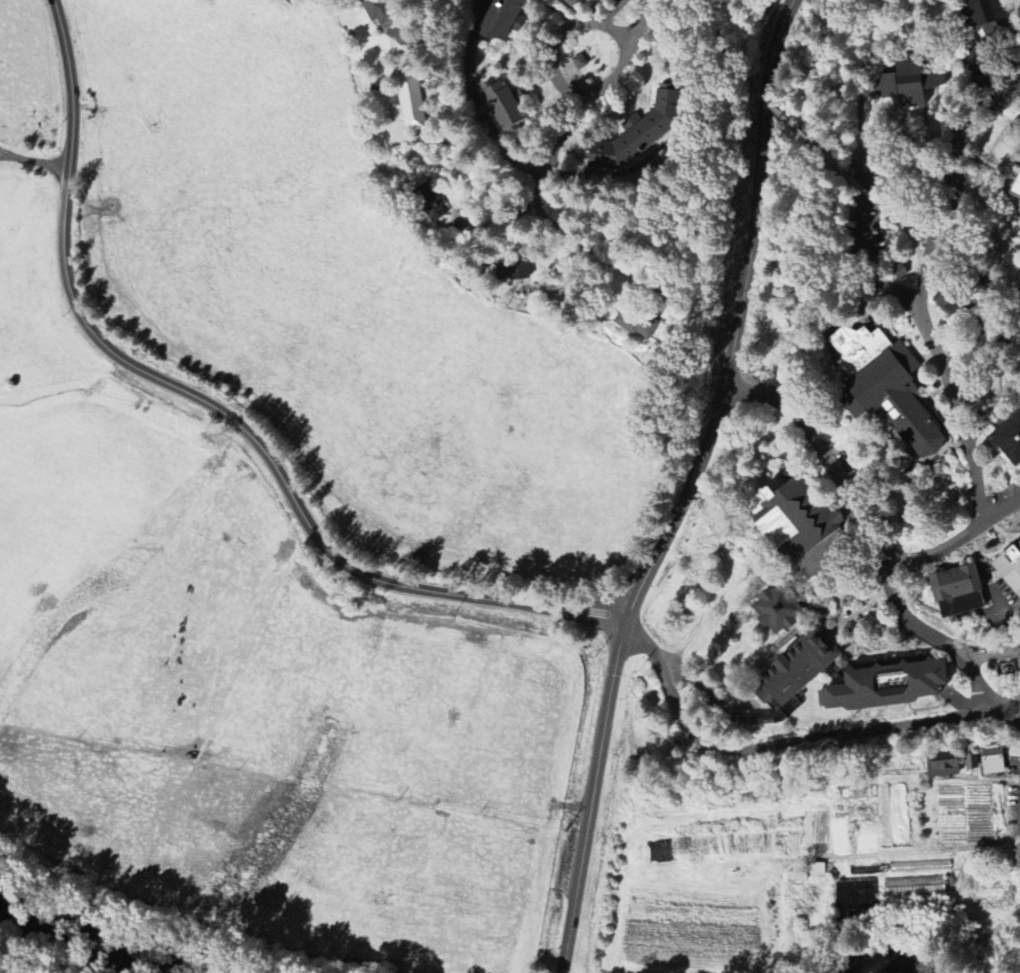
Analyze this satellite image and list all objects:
building: (570, 2)
building: (377, 11)
building: (981, 16)
building: (499, 18)
road: (709, 33)
building: (580, 62)
building: (978, 69)
crop: (29, 78)
road: (703, 79)
building: (909, 83)
road: (568, 88)
road: (476, 101)
building: (410, 102)
building: (503, 105)
building: (637, 133)
road: (802, 136)
road: (861, 155)
road: (34, 159)
building: (1016, 187)
building: (430, 204)
road: (546, 222)
road: (910, 233)
building: (513, 269)
crop: (31, 290)
building: (952, 296)
crop: (343, 297)
road: (921, 313)
building: (632, 321)
building: (887, 387)
road: (219, 408)
building: (1008, 438)
road: (687, 489)
road: (848, 500)
building: (798, 528)
building: (1010, 568)
building: (956, 591)
parking lot: (1001, 600)
building: (776, 608)
road: (936, 633)
parking lot: (1000, 651)
road: (991, 652)
building: (796, 667)
building: (885, 684)
crop: (258, 707)
road: (1012, 710)
building: (774, 714)
road: (789, 745)
building: (991, 755)
building: (969, 759)
building: (941, 763)
crop: (898, 764)
crop: (807, 791)
crop: (947, 792)
crop: (974, 797)
park: (996, 808)
crop: (894, 813)
crop: (923, 813)
crop: (724, 816)
crop: (845, 817)
crop: (975, 829)
crop: (725, 844)
building: (1017, 857)
parking lot: (570, 859)
building: (920, 865)
building: (817, 868)
building: (866, 868)
building: (803, 877)
building: (992, 879)
building: (914, 885)
crop: (865, 887)
building: (855, 895)
crop: (988, 911)
road: (128, 912)
crop: (695, 919)
crop: (796, 919)
road: (907, 925)
road: (542, 931)
river: (82, 937)
river: (893, 962)

